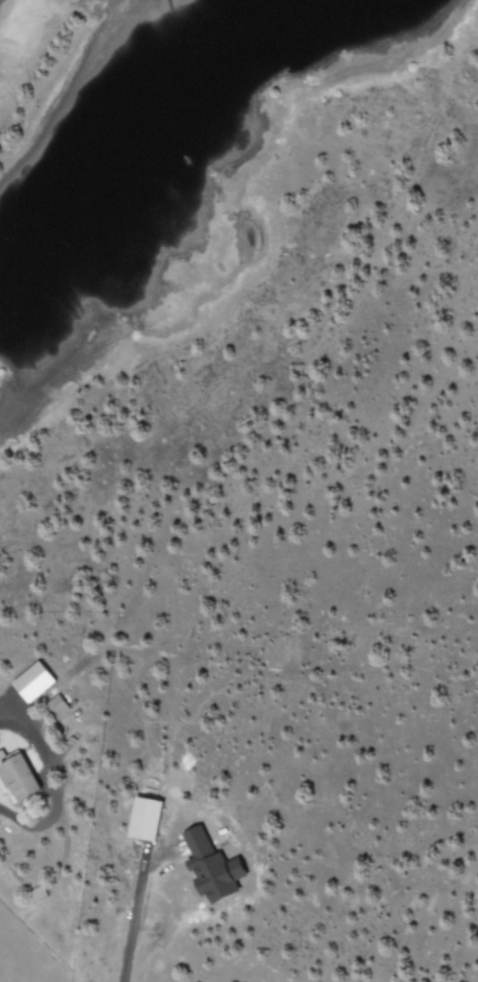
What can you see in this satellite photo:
building: (36, 681)
building: (19, 776)
building: (147, 818)
building: (215, 867)

